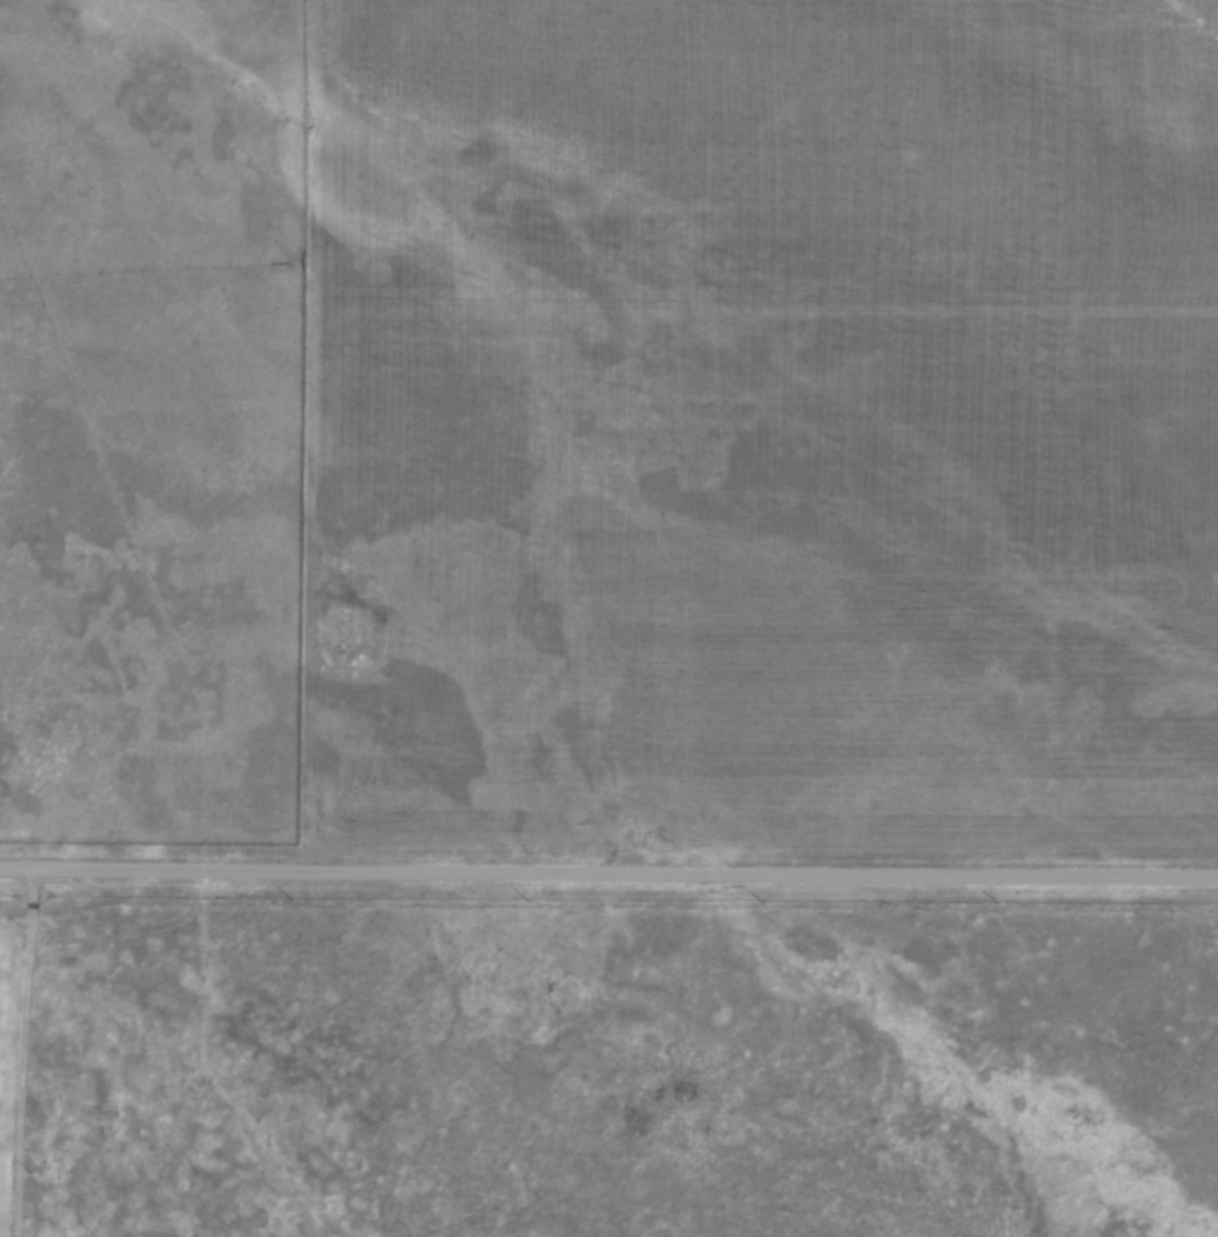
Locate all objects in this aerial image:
road: (609, 870)

